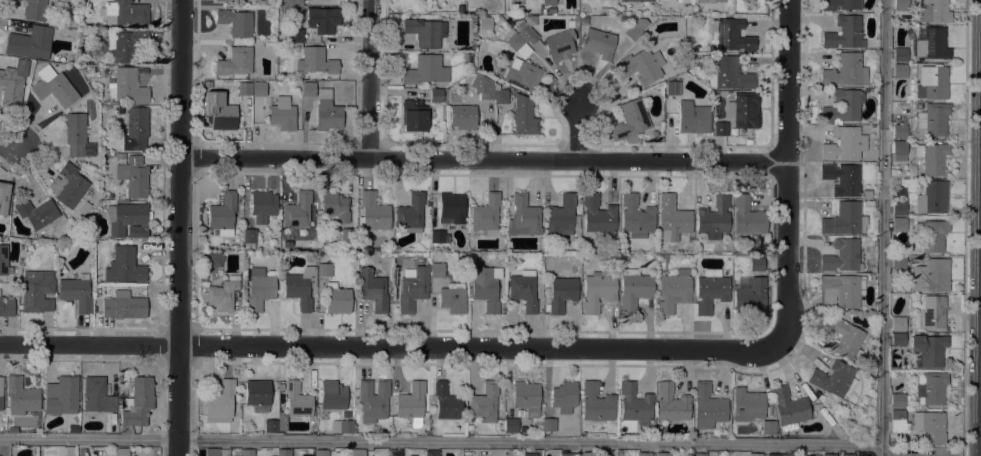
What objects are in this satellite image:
building: (225, 0)
building: (257, 0)
building: (640, 0)
building: (665, 0)
building: (753, 0)
building: (708, 1)
building: (290, 2)
building: (548, 2)
building: (840, 4)
building: (900, 5)
building: (69, 6)
building: (35, 10)
building: (550, 10)
building: (603, 10)
building: (931, 11)
building: (125, 13)
building: (279, 14)
building: (323, 19)
building: (236, 22)
building: (484, 23)
building: (425, 31)
building: (633, 32)
building: (525, 33)
building: (845, 33)
building: (731, 34)
building: (296, 35)
building: (514, 41)
building: (30, 42)
building: (599, 42)
building: (559, 44)
building: (931, 44)
building: (125, 45)
building: (900, 54)
building: (470, 58)
building: (235, 61)
building: (315, 61)
building: (640, 65)
building: (425, 70)
building: (900, 70)
building: (846, 71)
building: (522, 74)
building: (729, 74)
road: (369, 78)
building: (932, 82)
building: (12, 85)
building: (129, 85)
building: (54, 86)
building: (482, 86)
building: (673, 87)
building: (245, 88)
building: (258, 88)
building: (308, 89)
building: (500, 94)
building: (436, 95)
building: (917, 105)
building: (843, 106)
building: (744, 110)
building: (327, 111)
building: (282, 114)
building: (414, 115)
building: (223, 116)
building: (462, 116)
building: (523, 116)
building: (692, 117)
building: (933, 119)
building: (630, 121)
building: (136, 127)
building: (720, 128)
road: (579, 131)
building: (899, 131)
building: (74, 133)
building: (748, 141)
building: (845, 144)
road: (10, 145)
building: (899, 150)
building: (121, 155)
road: (483, 158)
building: (932, 158)
building: (96, 163)
road: (786, 172)
building: (133, 176)
building: (842, 178)
building: (68, 185)
building: (932, 197)
building: (4, 199)
building: (262, 205)
building: (83, 207)
building: (334, 208)
building: (451, 208)
building: (899, 208)
building: (298, 210)
building: (37, 212)
building: (373, 212)
building: (410, 213)
building: (486, 213)
building: (222, 214)
building: (599, 215)
building: (636, 216)
building: (747, 216)
building: (523, 217)
building: (563, 217)
building: (713, 218)
building: (127, 219)
building: (672, 219)
building: (844, 219)
building: (899, 224)
road: (180, 228)
road: (882, 228)
road: (964, 228)
building: (347, 234)
building: (931, 234)
building: (439, 236)
building: (249, 237)
building: (735, 250)
building: (843, 255)
building: (214, 259)
building: (4, 261)
building: (898, 262)
building: (756, 264)
building: (127, 265)
building: (873, 268)
building: (324, 269)
building: (436, 269)
building: (930, 275)
building: (101, 277)
building: (300, 287)
building: (259, 288)
building: (484, 288)
building: (598, 288)
building: (373, 289)
building: (413, 289)
building: (523, 289)
building: (633, 289)
building: (674, 290)
building: (710, 290)
building: (841, 290)
building: (37, 291)
building: (76, 292)
building: (222, 293)
building: (561, 293)
building: (749, 294)
building: (452, 297)
building: (337, 299)
building: (123, 305)
building: (6, 306)
building: (933, 311)
building: (898, 323)
building: (845, 338)
building: (897, 339)
road: (389, 346)
building: (929, 349)
building: (834, 379)
building: (280, 386)
building: (933, 387)
building: (1, 393)
building: (61, 395)
building: (97, 395)
building: (258, 395)
building: (332, 395)
building: (21, 396)
building: (564, 396)
building: (526, 397)
building: (297, 400)
building: (373, 400)
building: (897, 400)
building: (138, 402)
building: (446, 402)
building: (484, 402)
building: (596, 402)
building: (411, 403)
building: (671, 403)
building: (634, 404)
building: (747, 404)
building: (221, 405)
building: (707, 406)
building: (789, 408)
building: (345, 413)
building: (898, 421)
building: (549, 424)
building: (510, 425)
building: (271, 426)
building: (342, 426)
building: (930, 426)
building: (469, 427)
building: (768, 427)
building: (12, 429)
building: (523, 429)
road: (440, 441)
building: (122, 452)
building: (216, 452)
building: (246, 452)
building: (283, 452)
building: (358, 452)
building: (321, 453)
building: (395, 453)
building: (432, 453)
building: (529, 454)
building: (566, 454)
building: (586, 454)
building: (643, 454)
building: (662, 454)
building: (699, 454)
building: (755, 454)
building: (777, 454)
building: (829, 454)
building: (273, 455)
building: (847, 455)

